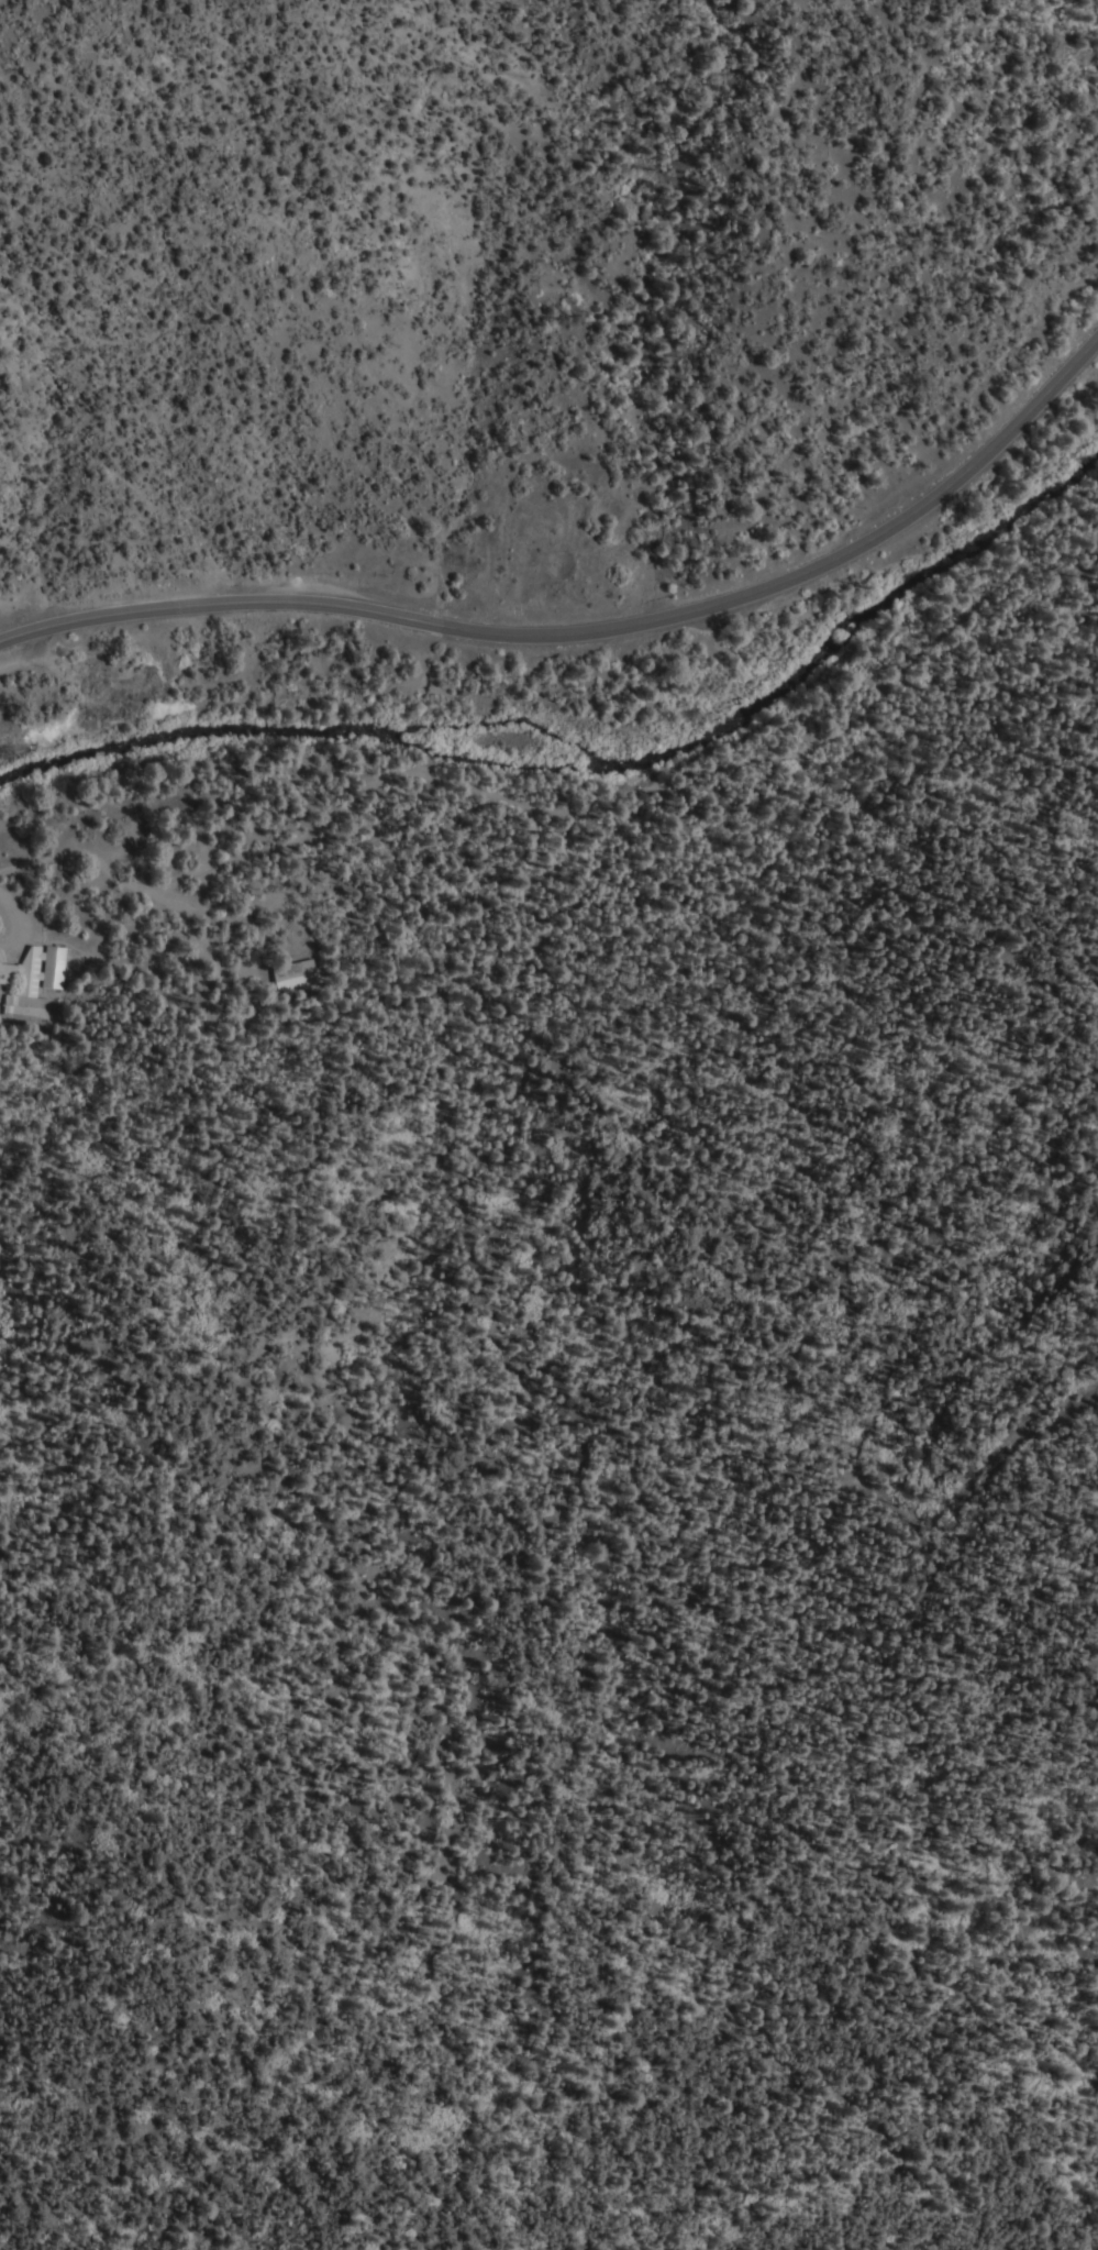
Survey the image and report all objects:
road: (591, 630)
building: (296, 975)
building: (32, 981)

